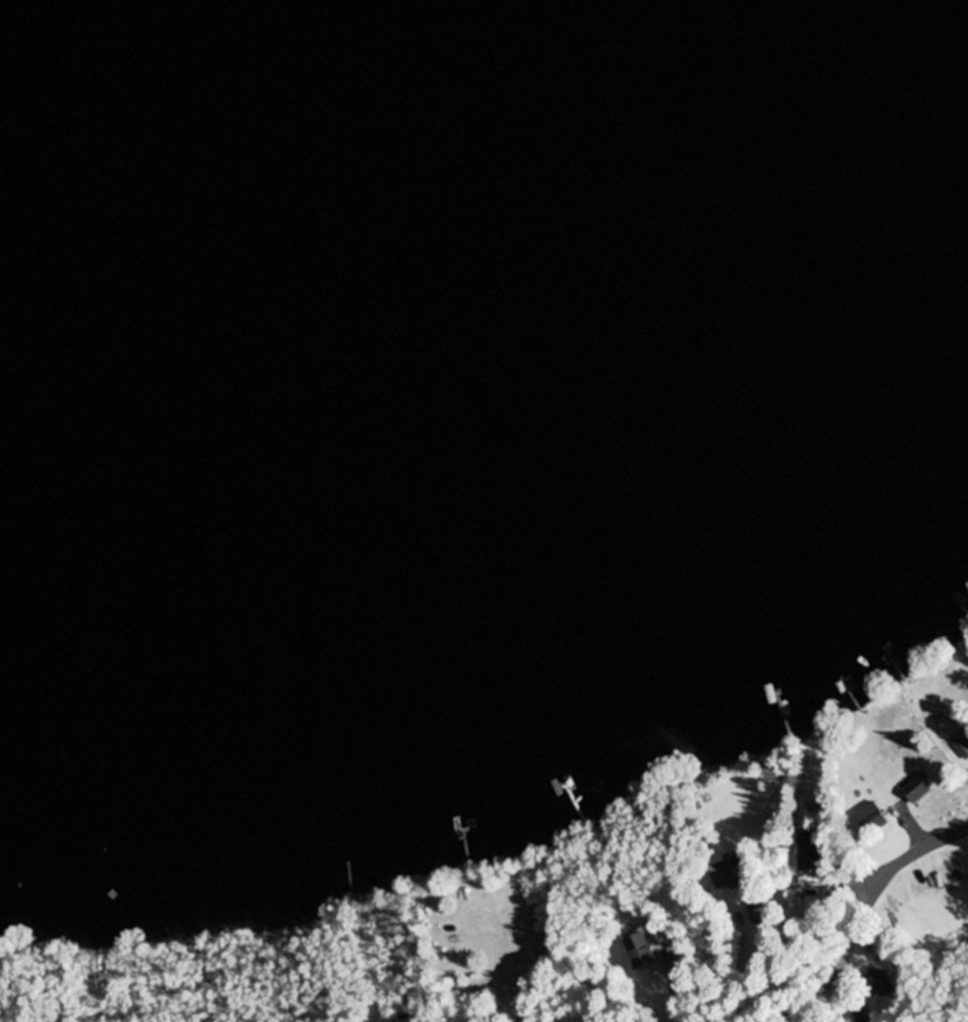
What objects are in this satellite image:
building: (962, 747)
building: (917, 791)
building: (874, 821)
building: (823, 862)
building: (802, 870)
building: (725, 875)
building: (759, 912)
road: (861, 927)
building: (640, 948)
building: (879, 983)

